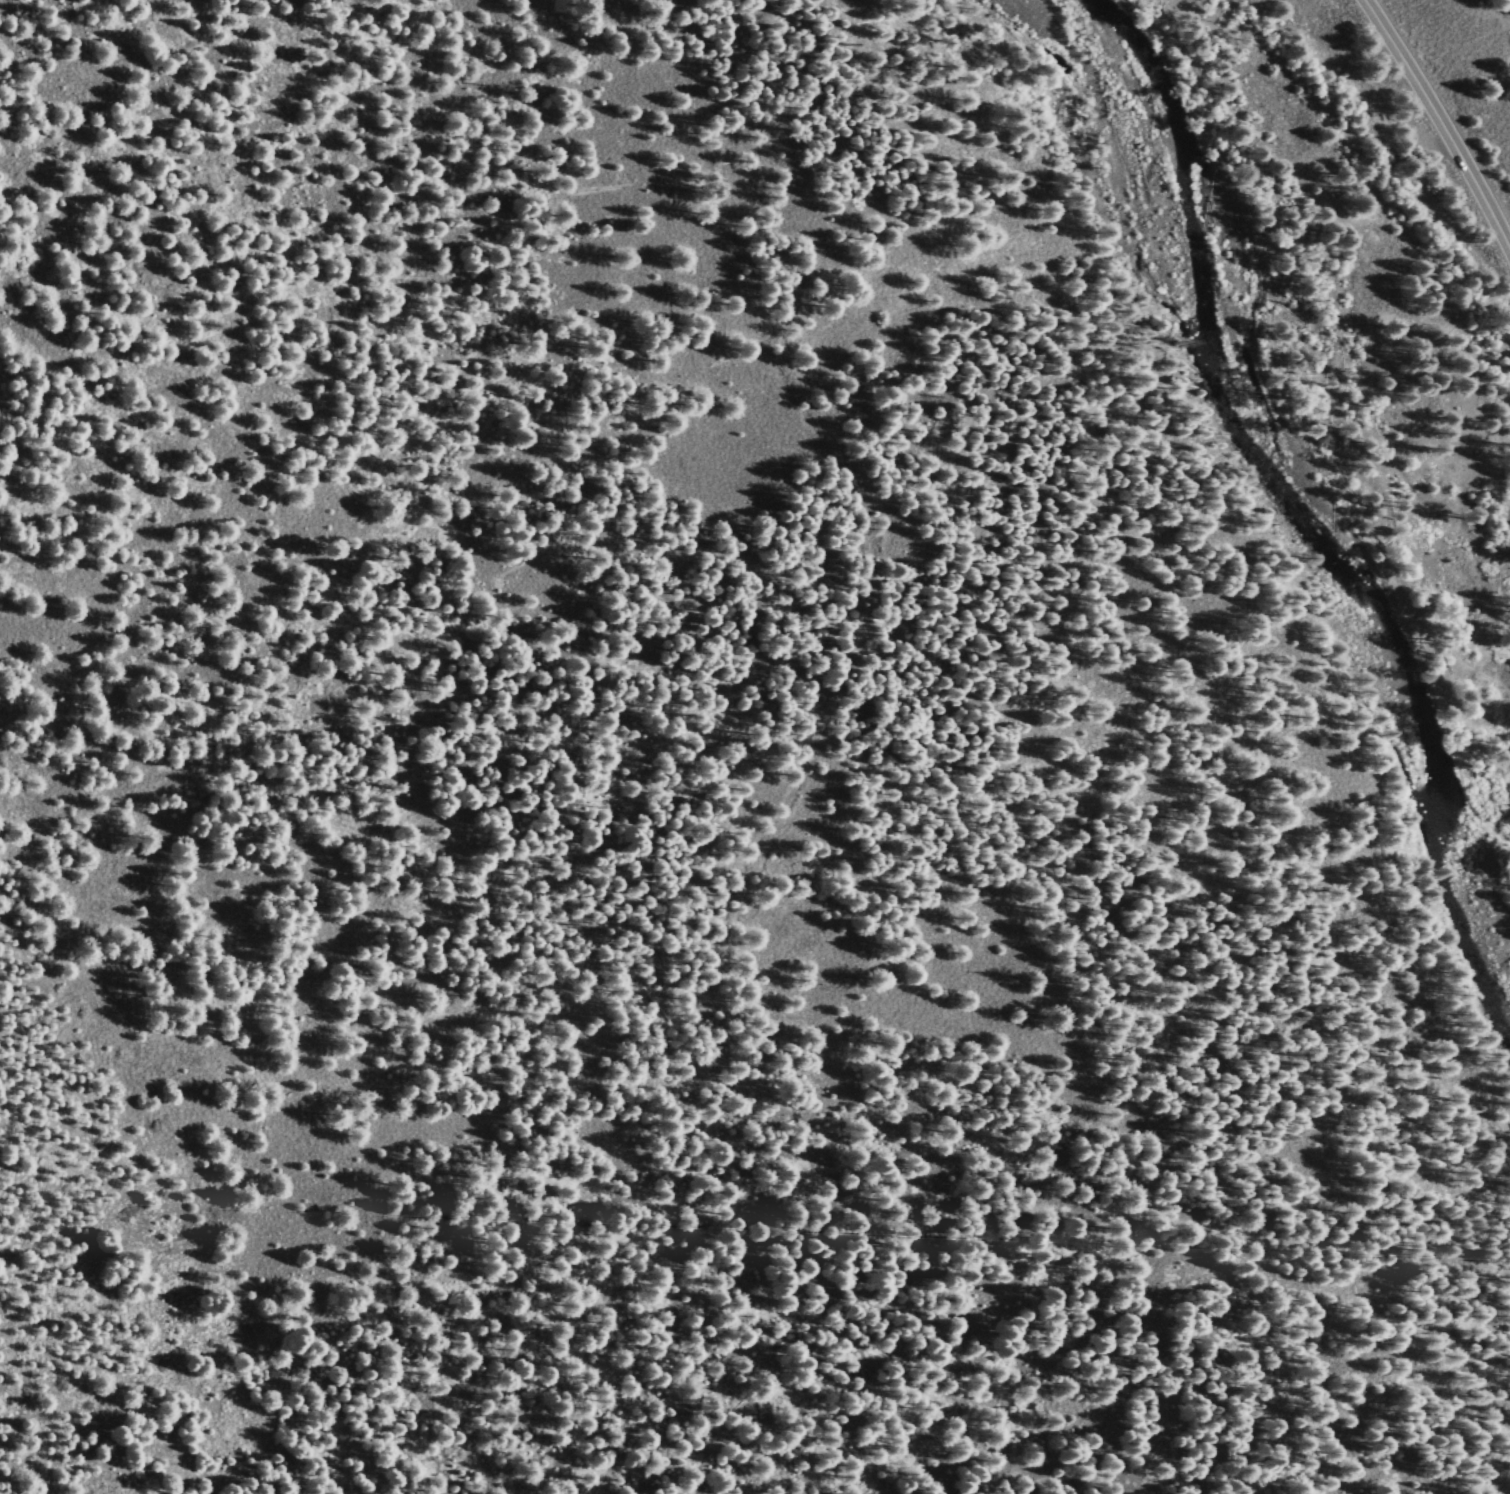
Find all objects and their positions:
road: (1440, 123)
river: (1298, 515)

